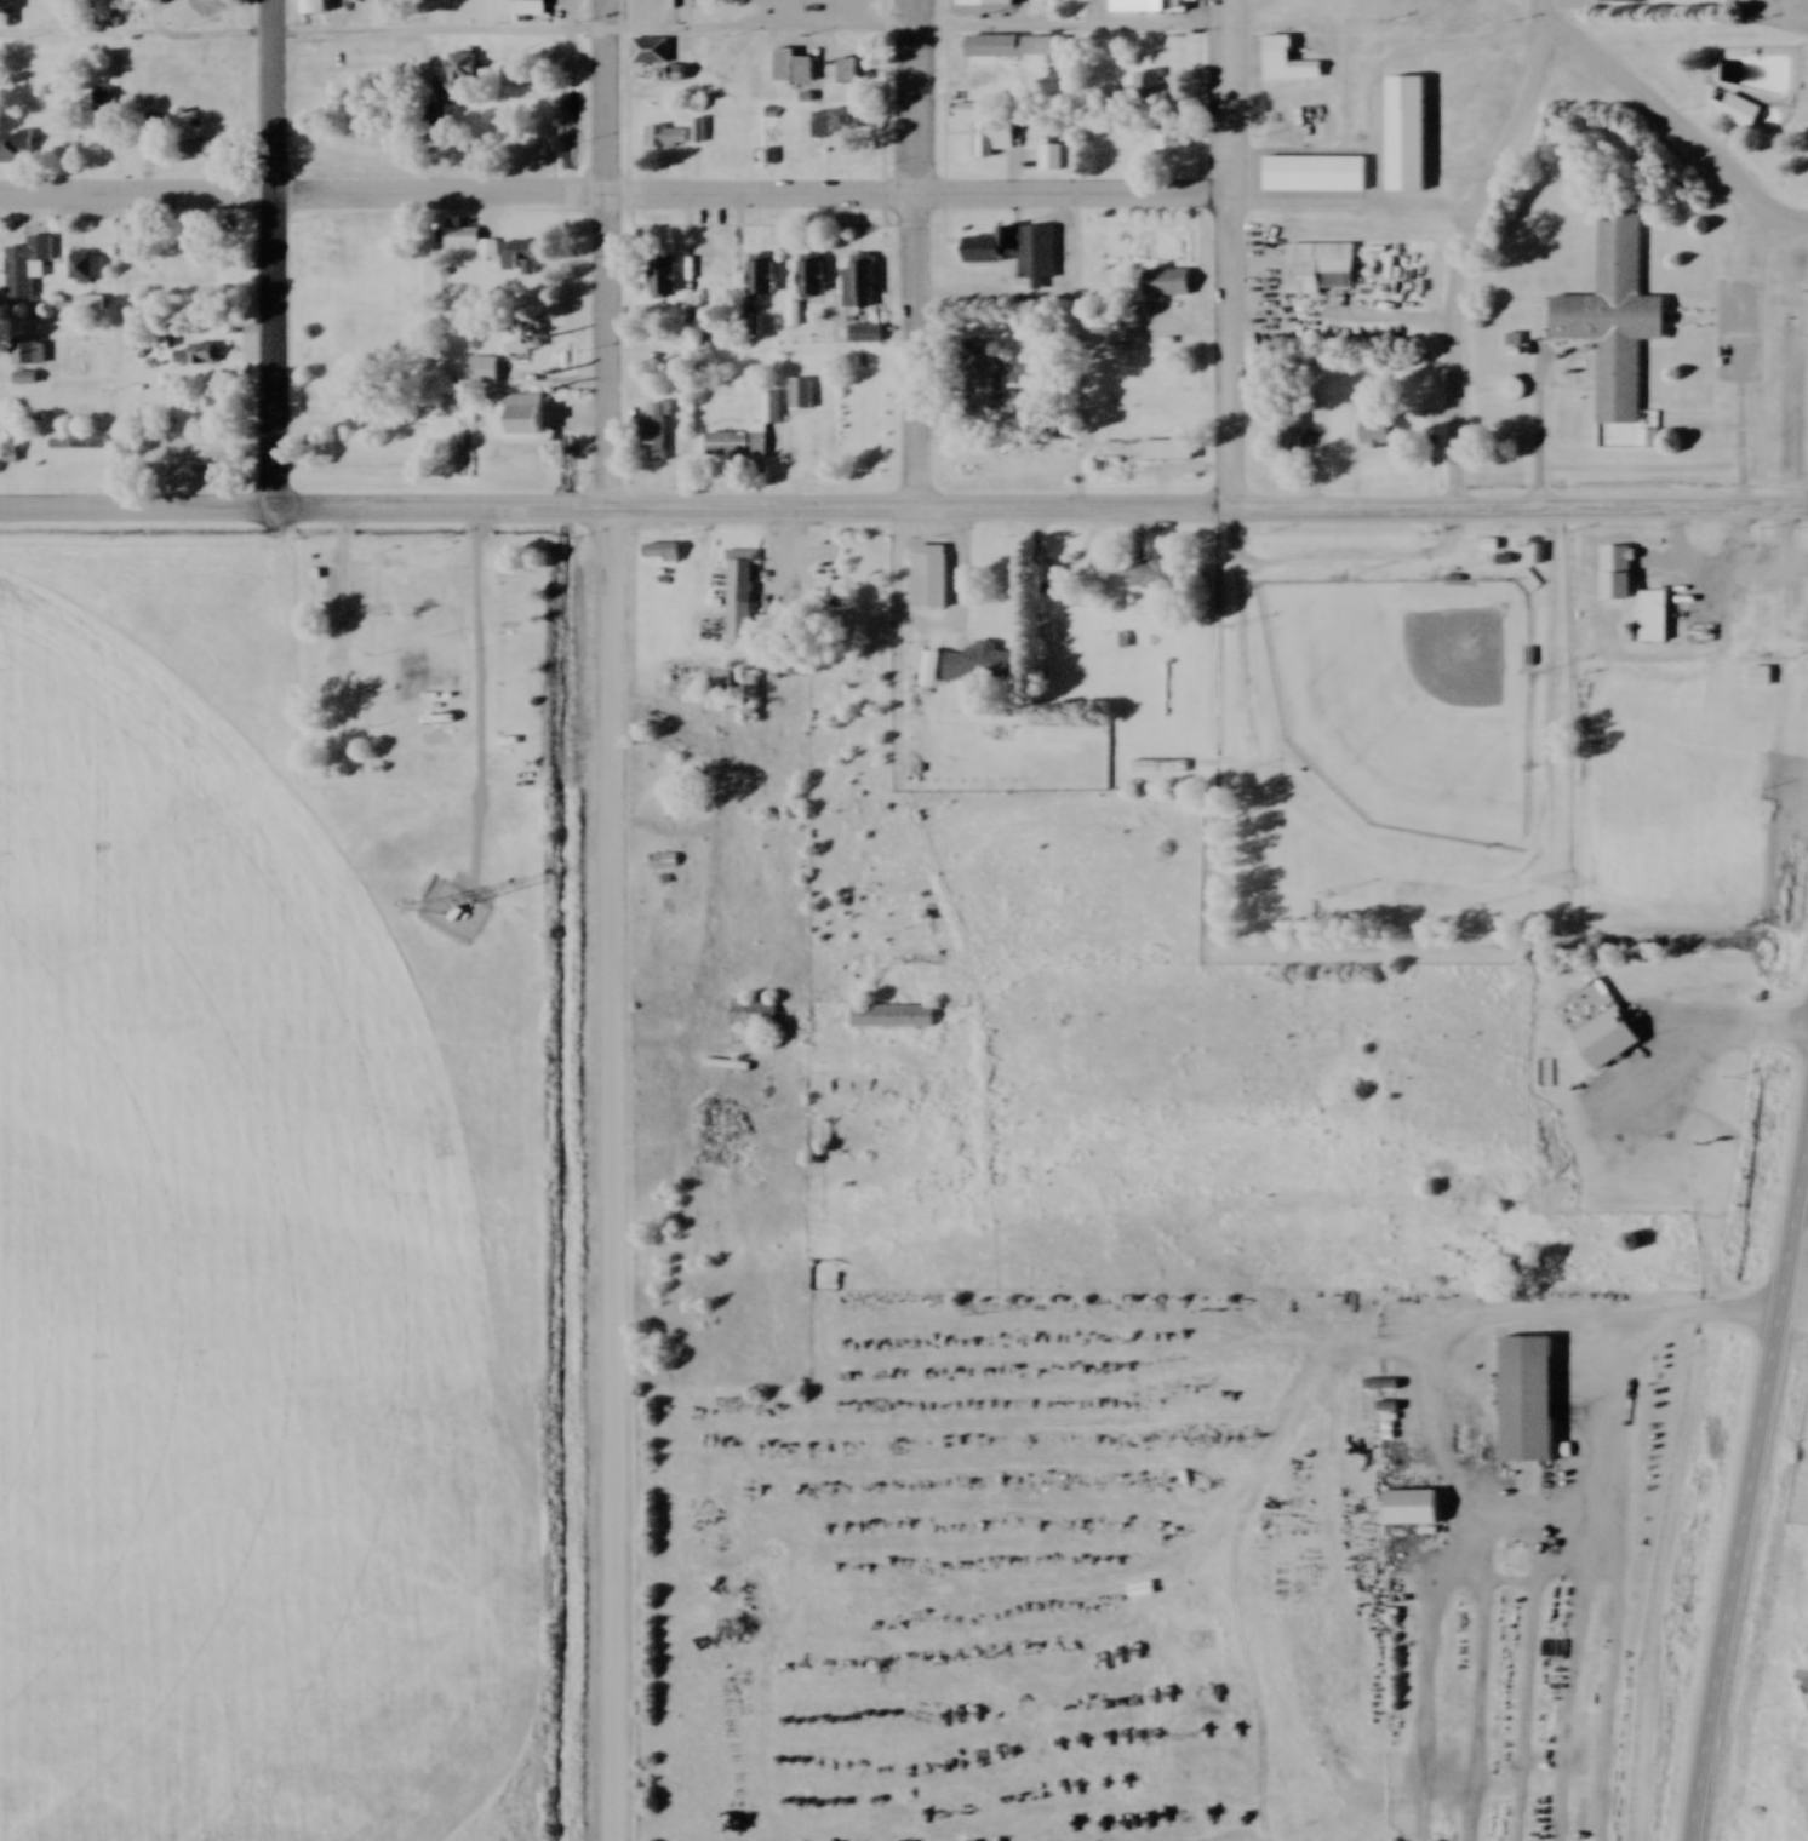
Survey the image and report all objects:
building: (1621, 2)
building: (988, 5)
building: (1152, 6)
building: (315, 7)
road: (614, 30)
building: (1018, 48)
building: (652, 53)
building: (1288, 64)
building: (794, 69)
building: (463, 73)
building: (849, 73)
building: (1152, 92)
building: (104, 103)
building: (1738, 111)
building: (975, 113)
building: (836, 122)
road: (1664, 126)
building: (1408, 136)
building: (666, 139)
building: (994, 142)
building: (1174, 142)
building: (16, 150)
building: (204, 150)
road: (616, 196)
building: (471, 243)
building: (1019, 254)
road: (274, 256)
road: (915, 256)
road: (1232, 256)
building: (523, 257)
road: (1461, 258)
building: (28, 269)
road: (1083, 269)
building: (87, 270)
building: (1322, 270)
building: (762, 277)
building: (813, 280)
building: (665, 281)
building: (1169, 285)
building: (862, 286)
road: (1000, 299)
building: (91, 306)
road: (1345, 316)
building: (1617, 321)
road: (1158, 329)
building: (860, 335)
building: (520, 342)
building: (29, 354)
road: (121, 356)
building: (205, 357)
building: (986, 384)
building: (1514, 391)
building: (802, 396)
building: (517, 426)
building: (1378, 431)
building: (658, 434)
building: (750, 435)
building: (1292, 436)
building: (1169, 452)
road: (903, 512)
building: (663, 555)
building: (1154, 578)
building: (932, 584)
building: (1087, 591)
building: (743, 600)
building: (1766, 612)
building: (1655, 619)
building: (980, 671)
building: (1762, 678)
building: (751, 700)
park: (1408, 701)
road: (720, 850)
building: (665, 862)
road: (611, 919)
building: (755, 1015)
building: (894, 1017)
road: (767, 1157)
road: (1613, 1373)
building: (1530, 1401)
road: (1749, 1499)
building: (1414, 1508)

